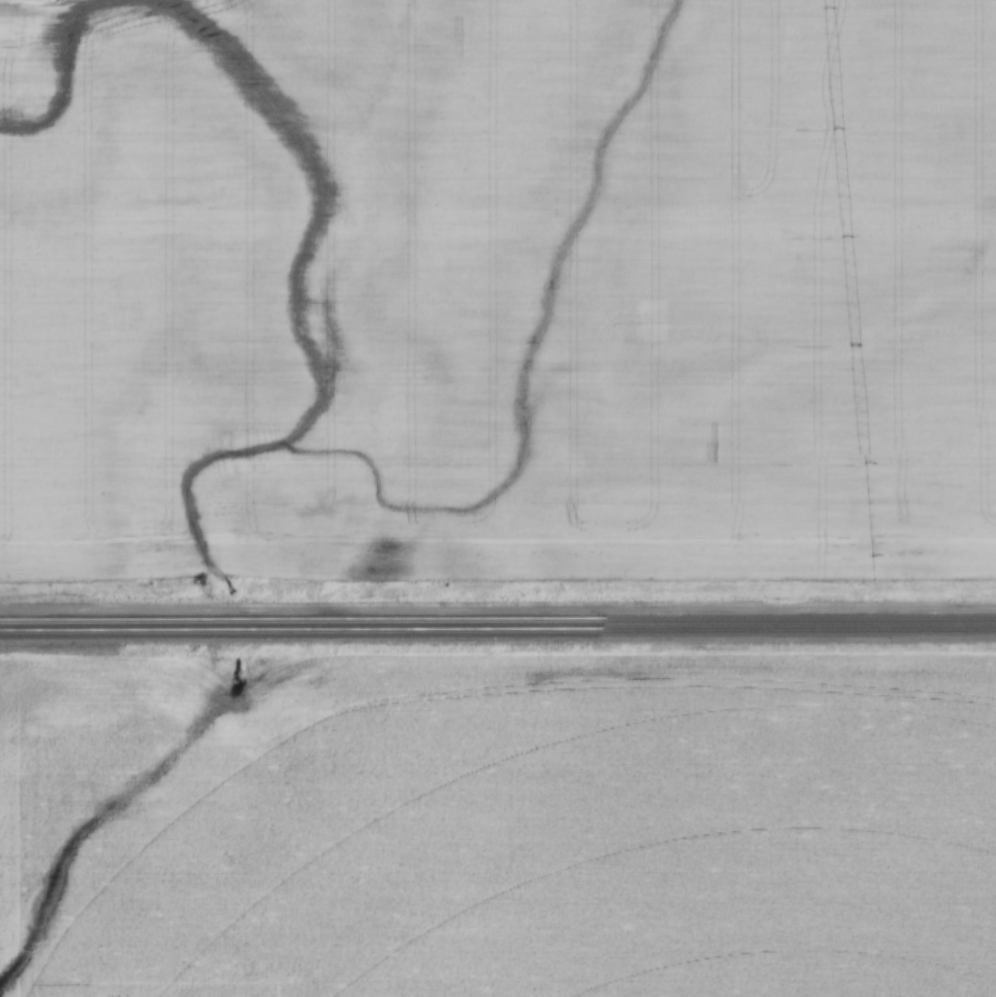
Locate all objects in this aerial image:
railway: (497, 618)
railway: (498, 629)

